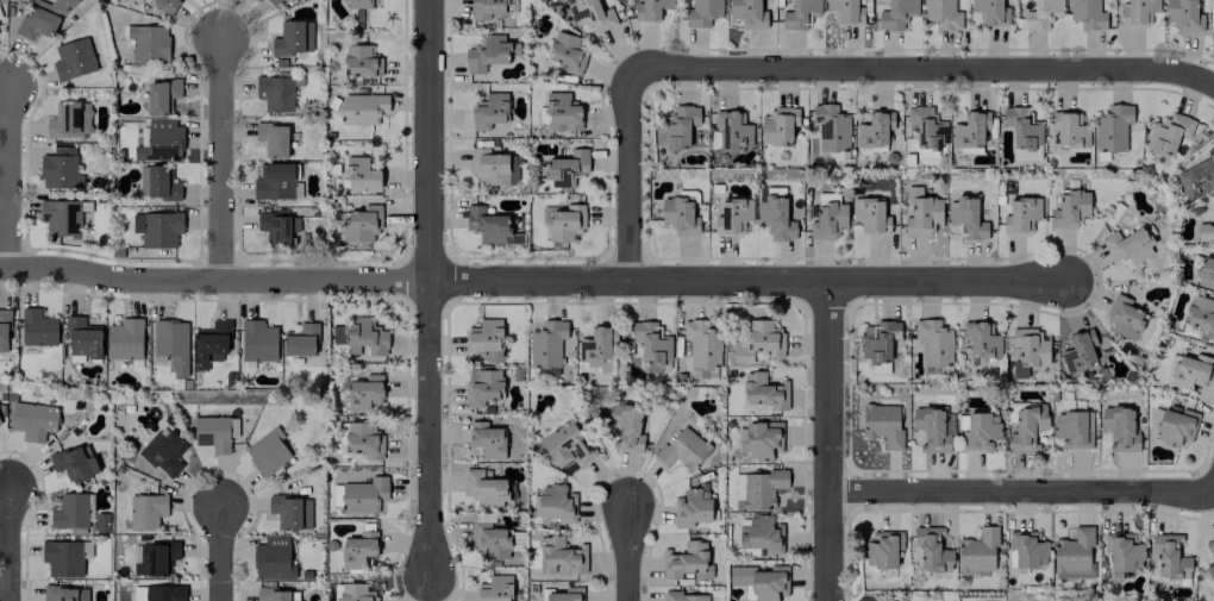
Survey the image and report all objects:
building: (257, 0)
building: (1028, 0)
building: (271, 1)
building: (165, 4)
building: (357, 4)
building: (488, 8)
building: (650, 10)
building: (845, 11)
building: (702, 12)
building: (990, 12)
building: (1137, 12)
building: (747, 13)
building: (799, 13)
building: (590, 14)
building: (896, 14)
building: (941, 14)
building: (1041, 14)
building: (1087, 14)
building: (1184, 14)
building: (42, 17)
building: (293, 38)
building: (148, 42)
building: (488, 52)
building: (567, 52)
building: (73, 58)
building: (361, 61)
road: (924, 69)
building: (275, 93)
building: (161, 95)
building: (362, 108)
building: (488, 111)
building: (561, 112)
building: (69, 119)
building: (677, 126)
building: (778, 126)
building: (1022, 126)
building: (831, 127)
building: (1112, 127)
building: (732, 129)
building: (1069, 129)
building: (874, 130)
building: (926, 130)
building: (970, 131)
building: (1168, 132)
building: (271, 138)
building: (159, 142)
road: (224, 158)
building: (492, 167)
building: (564, 168)
building: (60, 169)
building: (359, 173)
road: (632, 176)
building: (1197, 176)
road: (10, 179)
building: (157, 182)
building: (275, 182)
building: (1070, 208)
building: (921, 213)
building: (1021, 214)
building: (678, 215)
building: (732, 215)
building: (775, 215)
building: (869, 215)
building: (60, 217)
building: (827, 217)
building: (966, 218)
building: (362, 223)
building: (565, 223)
building: (487, 225)
building: (276, 226)
building: (157, 228)
building: (1206, 230)
building: (1127, 246)
building: (1206, 274)
road: (531, 281)
road: (430, 286)
building: (1201, 315)
building: (1124, 317)
building: (37, 327)
building: (4, 328)
building: (361, 336)
building: (82, 337)
building: (125, 338)
building: (300, 339)
building: (981, 339)
building: (257, 340)
building: (484, 340)
building: (651, 342)
building: (756, 342)
building: (933, 342)
building: (880, 343)
building: (209, 344)
building: (596, 344)
building: (701, 344)
building: (171, 345)
building: (546, 346)
building: (1030, 346)
building: (1078, 351)
building: (1189, 371)
building: (482, 387)
building: (764, 390)
building: (364, 393)
building: (32, 420)
building: (626, 425)
building: (882, 425)
building: (1175, 426)
building: (1026, 428)
building: (1072, 428)
building: (1119, 428)
building: (980, 431)
building: (213, 432)
building: (363, 439)
building: (486, 439)
building: (762, 439)
road: (828, 442)
building: (565, 444)
building: (682, 449)
building: (163, 451)
building: (267, 451)
building: (74, 463)
building: (484, 488)
building: (757, 489)
road: (1021, 492)
building: (363, 495)
building: (556, 503)
building: (692, 507)
building: (73, 511)
building: (145, 511)
building: (290, 512)
building: (761, 534)
building: (489, 541)
road: (10, 543)
building: (1209, 544)
building: (357, 549)
building: (882, 549)
building: (931, 549)
building: (1027, 549)
road: (220, 551)
building: (977, 551)
building: (1072, 551)
building: (1122, 551)
road: (630, 552)
building: (562, 555)
building: (64, 557)
building: (1169, 557)
building: (155, 558)
building: (271, 558)
building: (687, 561)
building: (1210, 572)
building: (761, 581)
building: (494, 589)
building: (359, 591)
building: (64, 593)
building: (158, 593)
building: (276, 594)
building: (684, 596)

